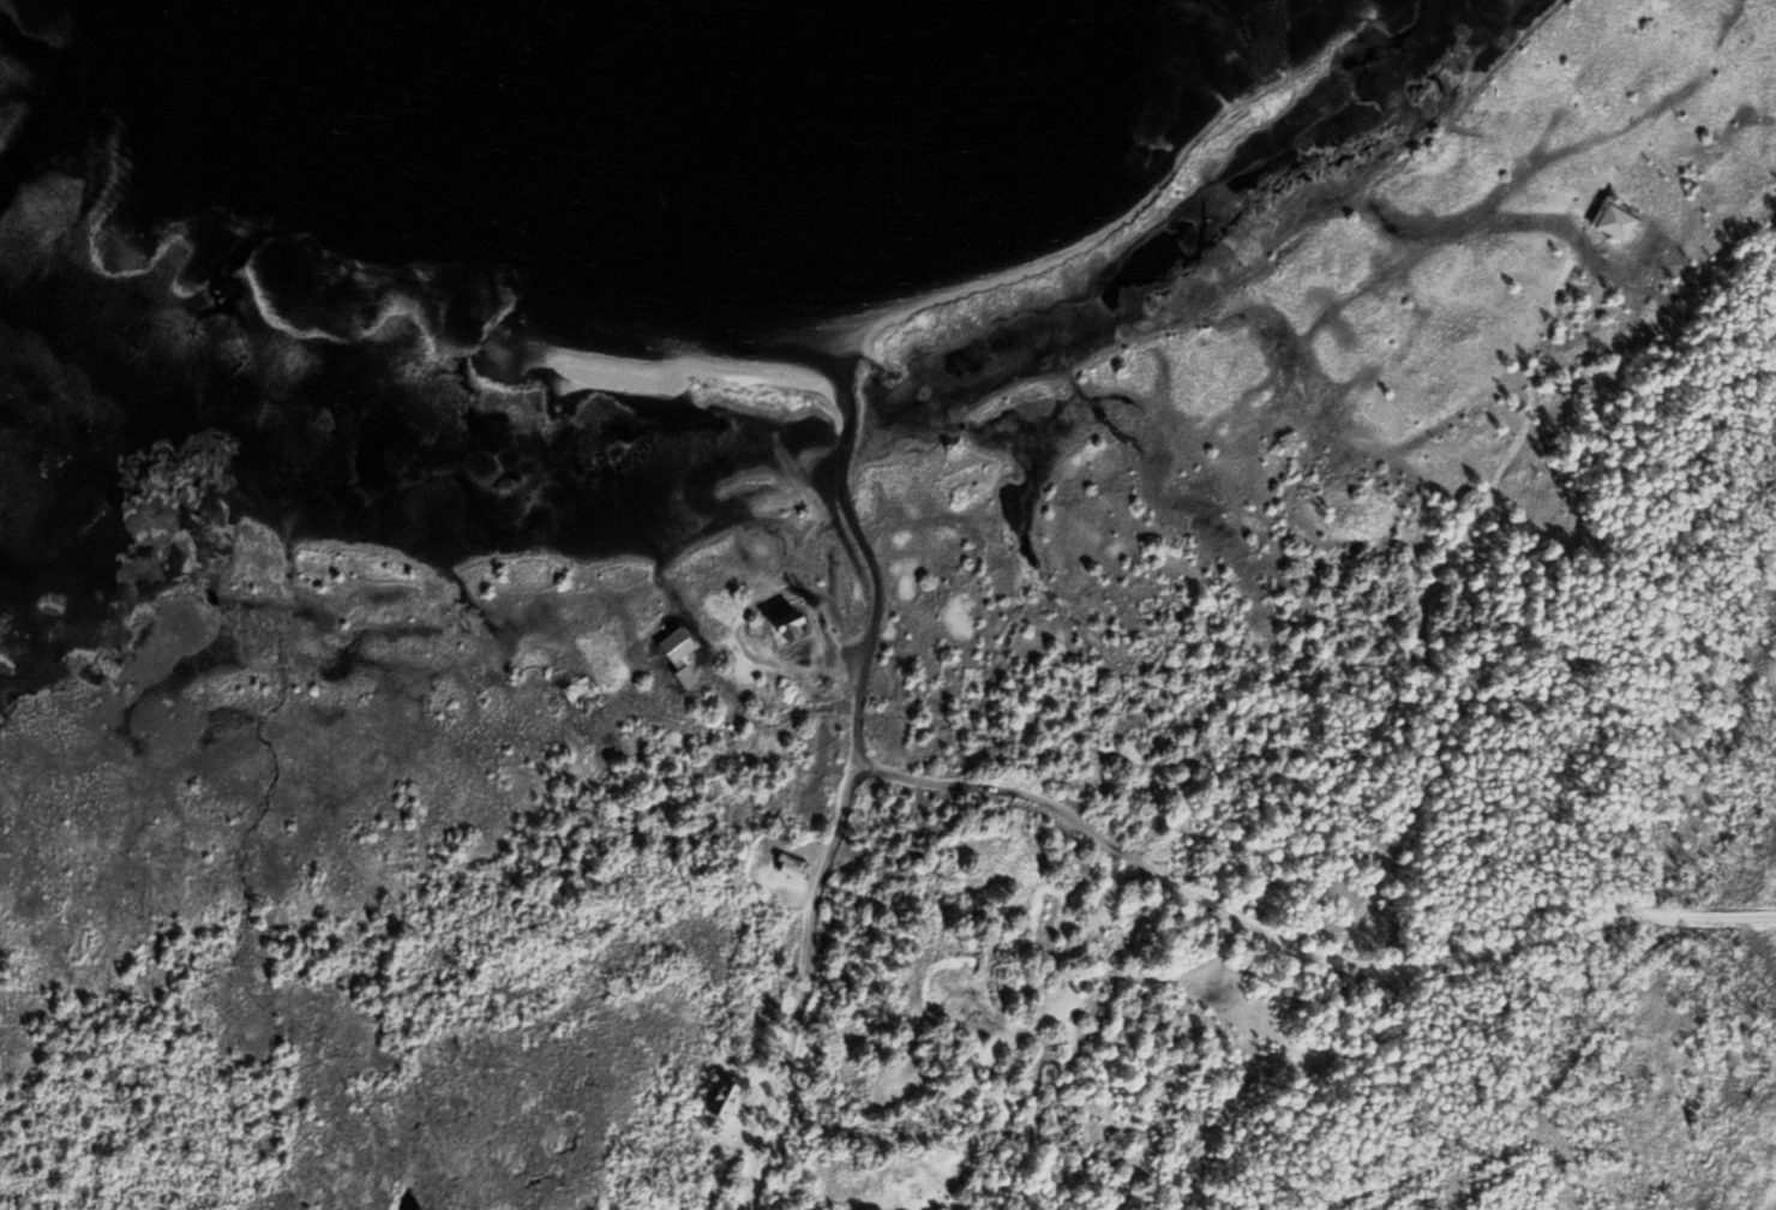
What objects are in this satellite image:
building: (1614, 217)
road: (847, 509)
road: (1420, 603)
building: (787, 623)
road: (736, 627)
building: (676, 645)
building: (685, 675)
building: (578, 688)
road: (738, 689)
road: (746, 721)
building: (793, 864)
road: (1736, 916)
road: (1260, 928)
road: (810, 939)
road: (1105, 975)
building: (722, 1098)
road: (1534, 1100)

